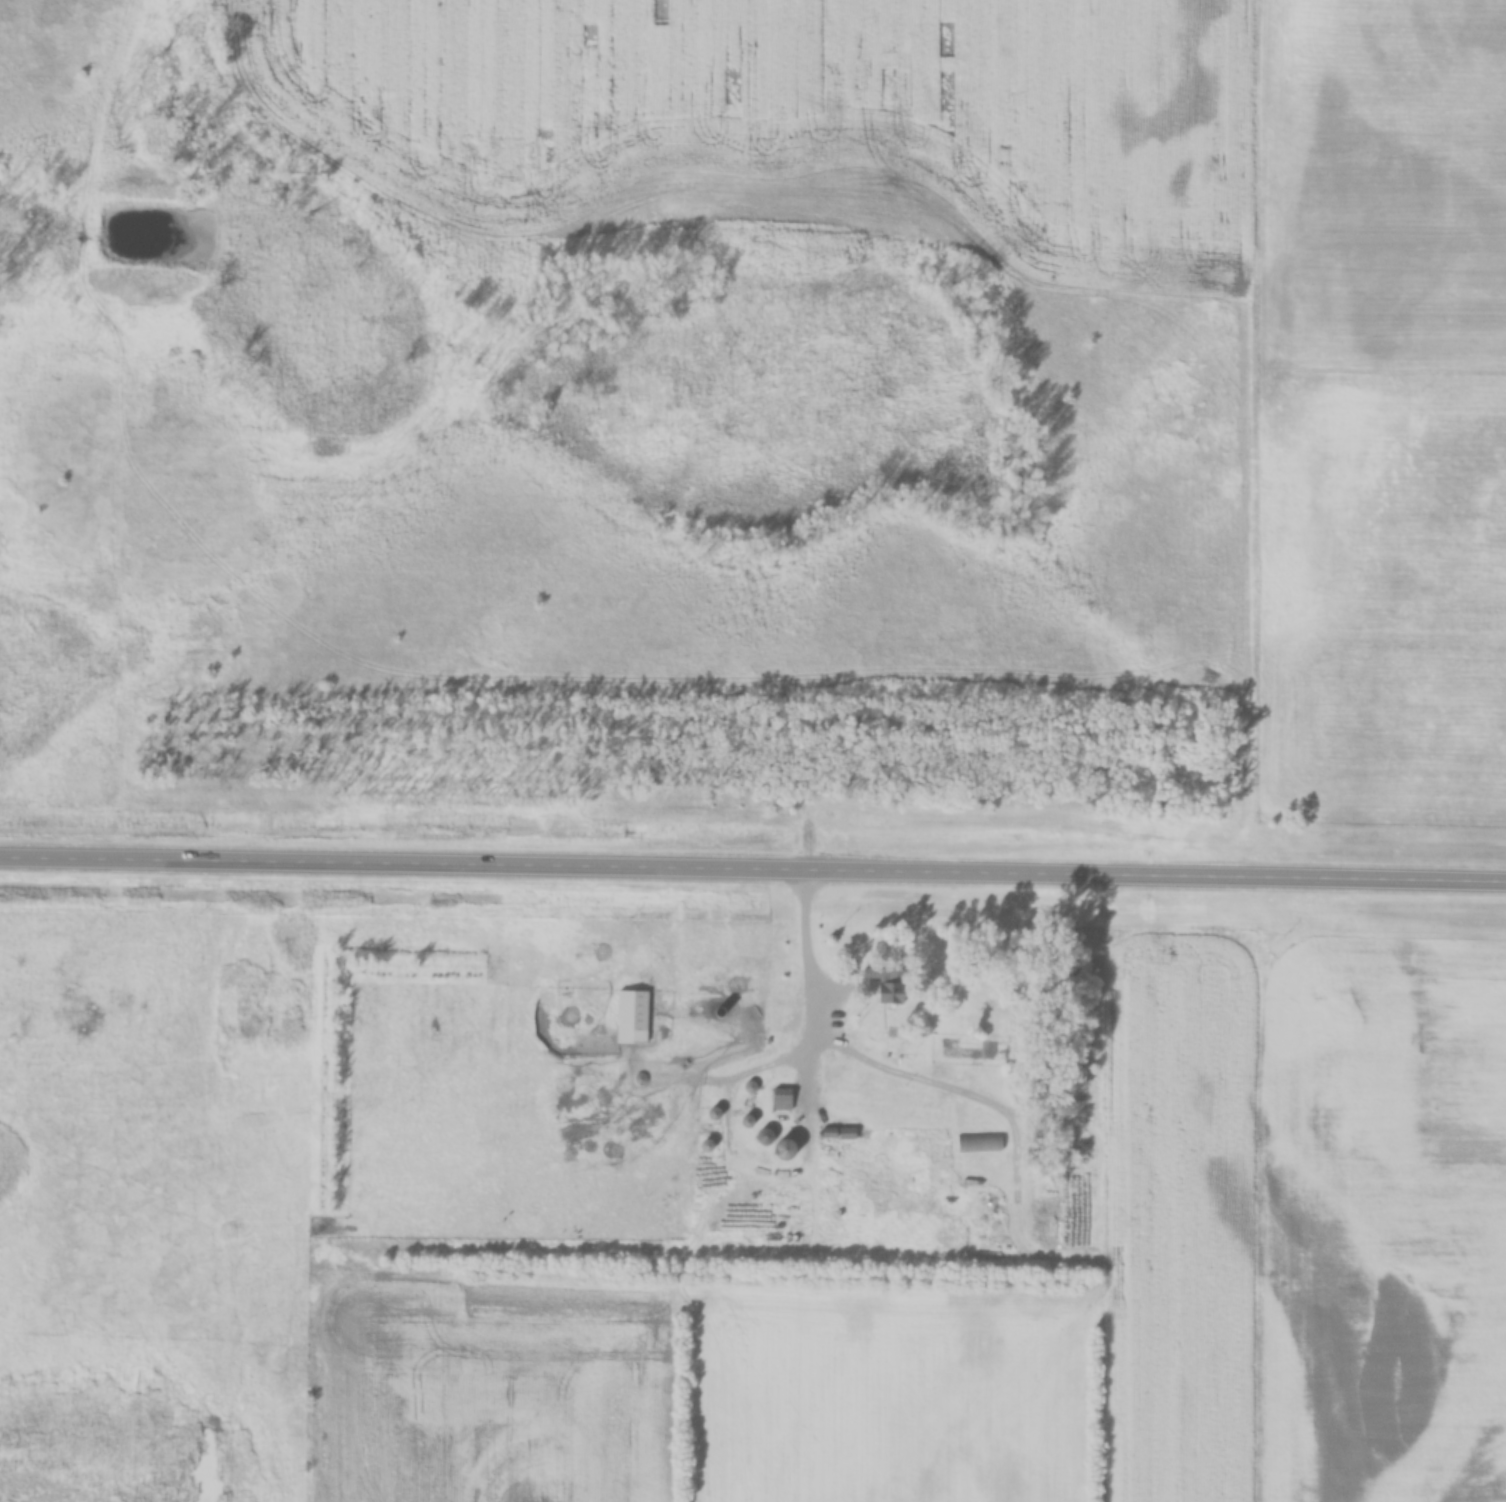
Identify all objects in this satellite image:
road: (753, 872)
building: (889, 993)
building: (630, 1016)
building: (844, 1133)
building: (977, 1143)

